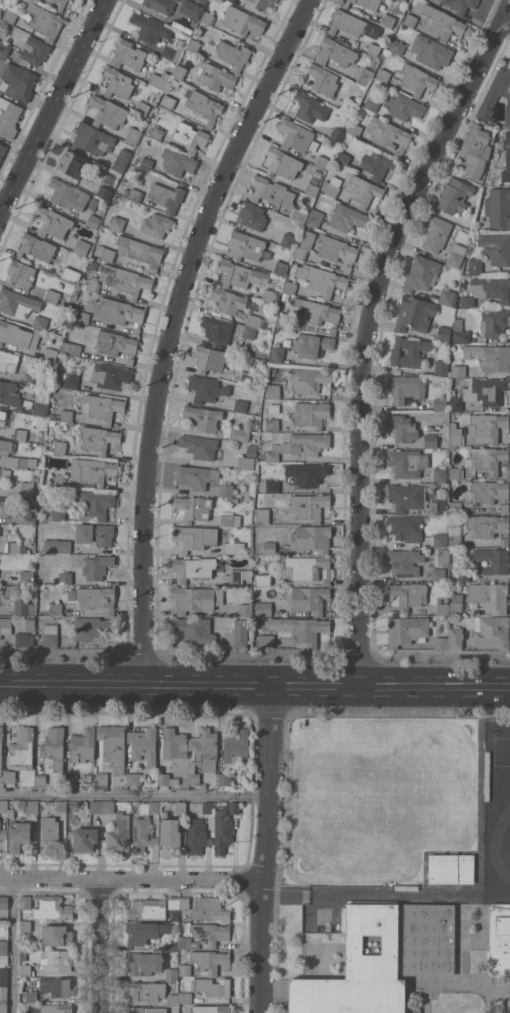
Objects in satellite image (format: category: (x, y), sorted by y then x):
building: (199, 0)
building: (363, 3)
building: (60, 4)
building: (261, 4)
building: (460, 5)
building: (0, 9)
building: (11, 13)
building: (170, 13)
building: (193, 13)
building: (206, 17)
building: (388, 20)
building: (410, 20)
building: (43, 21)
building: (242, 21)
building: (441, 22)
building: (347, 23)
building: (150, 28)
building: (193, 45)
building: (374, 46)
building: (396, 46)
building: (4, 47)
building: (35, 50)
building: (172, 50)
building: (335, 52)
building: (432, 52)
building: (233, 54)
building: (129, 55)
building: (1, 56)
building: (207, 75)
building: (383, 75)
building: (365, 76)
building: (159, 79)
building: (323, 79)
building: (417, 79)
building: (18, 81)
building: (118, 82)
building: (174, 83)
building: (496, 94)
building: (168, 101)
building: (372, 104)
building: (204, 106)
building: (350, 106)
building: (404, 106)
road: (52, 107)
building: (142, 107)
building: (309, 107)
building: (108, 112)
building: (360, 112)
building: (9, 117)
building: (354, 129)
building: (156, 132)
building: (336, 134)
building: (389, 134)
building: (133, 135)
building: (190, 136)
building: (297, 136)
building: (91, 138)
building: (2, 150)
building: (473, 150)
building: (506, 157)
building: (342, 158)
building: (121, 160)
building: (178, 161)
building: (282, 162)
building: (322, 162)
building: (72, 163)
building: (146, 163)
building: (377, 164)
building: (314, 179)
building: (331, 186)
building: (311, 189)
building: (362, 190)
building: (103, 192)
building: (68, 194)
building: (135, 195)
building: (276, 195)
building: (452, 195)
building: (167, 196)
building: (498, 207)
building: (252, 215)
building: (315, 217)
building: (348, 217)
building: (93, 221)
building: (52, 222)
building: (117, 222)
building: (156, 224)
building: (436, 233)
building: (288, 239)
building: (247, 245)
building: (304, 245)
building: (81, 246)
building: (496, 247)
building: (37, 248)
building: (337, 250)
building: (140, 251)
building: (104, 253)
building: (456, 255)
building: (475, 265)
building: (280, 267)
building: (21, 273)
building: (69, 273)
building: (421, 273)
building: (240, 274)
building: (321, 278)
building: (129, 281)
building: (90, 284)
building: (289, 286)
building: (490, 287)
building: (51, 296)
building: (271, 296)
building: (446, 297)
building: (227, 300)
building: (467, 301)
building: (17, 303)
building: (119, 312)
building: (254, 313)
building: (318, 313)
building: (414, 313)
building: (80, 317)
building: (281, 320)
building: (39, 322)
building: (494, 322)
road: (170, 328)
building: (217, 329)
building: (248, 332)
building: (461, 332)
building: (442, 333)
building: (19, 334)
road: (369, 334)
building: (117, 344)
building: (311, 344)
building: (71, 348)
building: (409, 351)
building: (277, 353)
building: (50, 354)
building: (495, 358)
building: (209, 359)
building: (8, 361)
building: (440, 367)
building: (458, 370)
building: (111, 375)
building: (72, 377)
building: (245, 377)
building: (31, 379)
building: (307, 379)
building: (207, 388)
building: (406, 389)
building: (273, 391)
building: (481, 392)
building: (9, 393)
building: (439, 404)
building: (240, 405)
building: (102, 407)
building: (40, 408)
building: (273, 408)
building: (310, 414)
building: (64, 415)
building: (2, 417)
building: (203, 417)
building: (271, 424)
building: (488, 425)
building: (402, 427)
building: (453, 428)
building: (239, 433)
building: (20, 434)
building: (98, 438)
building: (456, 438)
building: (430, 440)
building: (299, 445)
building: (60, 446)
building: (6, 447)
building: (201, 447)
building: (251, 449)
building: (487, 459)
building: (25, 462)
building: (245, 462)
building: (407, 462)
building: (93, 471)
building: (455, 472)
building: (5, 473)
building: (307, 473)
building: (439, 474)
building: (195, 475)
building: (57, 480)
building: (268, 485)
building: (26, 487)
building: (225, 490)
building: (44, 492)
building: (489, 493)
building: (406, 496)
building: (233, 500)
building: (4, 502)
building: (94, 502)
building: (309, 506)
building: (442, 506)
building: (193, 507)
building: (455, 507)
building: (261, 509)
building: (58, 513)
building: (26, 517)
building: (230, 519)
building: (405, 527)
building: (489, 527)
building: (455, 530)
building: (95, 533)
building: (194, 537)
building: (311, 538)
building: (440, 539)
building: (57, 545)
building: (16, 547)
building: (233, 547)
building: (269, 547)
building: (443, 556)
building: (493, 560)
building: (404, 562)
building: (97, 566)
building: (195, 568)
building: (306, 568)
building: (438, 574)
building: (462, 574)
building: (239, 575)
building: (262, 576)
building: (26, 577)
building: (65, 577)
building: (71, 594)
building: (408, 595)
building: (489, 596)
building: (97, 598)
building: (196, 598)
building: (309, 598)
building: (24, 607)
building: (456, 607)
building: (55, 608)
building: (263, 608)
building: (245, 609)
building: (442, 609)
building: (30, 624)
building: (5, 625)
building: (91, 627)
building: (193, 629)
building: (299, 629)
building: (407, 630)
building: (492, 630)
building: (50, 634)
building: (240, 636)
building: (456, 637)
building: (24, 638)
building: (266, 640)
building: (443, 641)
road: (22, 681)
road: (62, 681)
road: (111, 682)
road: (207, 683)
road: (286, 684)
road: (316, 684)
road: (344, 684)
road: (397, 685)
road: (473, 685)
building: (174, 743)
building: (144, 744)
building: (83, 745)
building: (113, 745)
building: (54, 746)
building: (22, 747)
building: (236, 749)
building: (1, 752)
building: (203, 754)
building: (9, 775)
building: (102, 778)
building: (134, 778)
building: (224, 778)
building: (71, 779)
building: (166, 779)
building: (40, 780)
building: (185, 781)
road: (136, 795)
building: (3, 806)
building: (31, 806)
building: (96, 806)
building: (61, 807)
building: (207, 807)
building: (234, 807)
building: (180, 808)
building: (117, 828)
building: (143, 828)
building: (222, 831)
building: (3, 833)
building: (18, 835)
building: (171, 835)
building: (51, 836)
building: (197, 836)
building: (85, 838)
road: (268, 848)
building: (443, 868)
building: (466, 868)
road: (131, 878)
road: (306, 895)
building: (4, 901)
building: (25, 901)
building: (184, 902)
building: (51, 907)
building: (173, 907)
building: (147, 908)
building: (209, 908)
building: (26, 926)
building: (141, 932)
building: (210, 932)
building: (57, 935)
building: (427, 939)
building: (499, 939)
building: (188, 943)
building: (171, 944)
road: (12, 945)
road: (100, 945)
building: (4, 947)
building: (23, 954)
building: (209, 959)
building: (56, 960)
building: (143, 962)
building: (359, 967)
building: (26, 969)
building: (185, 969)
building: (171, 974)
building: (3, 976)
building: (55, 986)
building: (213, 986)
building: (145, 990)
building: (3, 993)
building: (31, 995)
building: (185, 997)
building: (172, 999)
building: (57, 1008)
building: (211, 1008)
building: (3, 1009)
building: (146, 1009)

